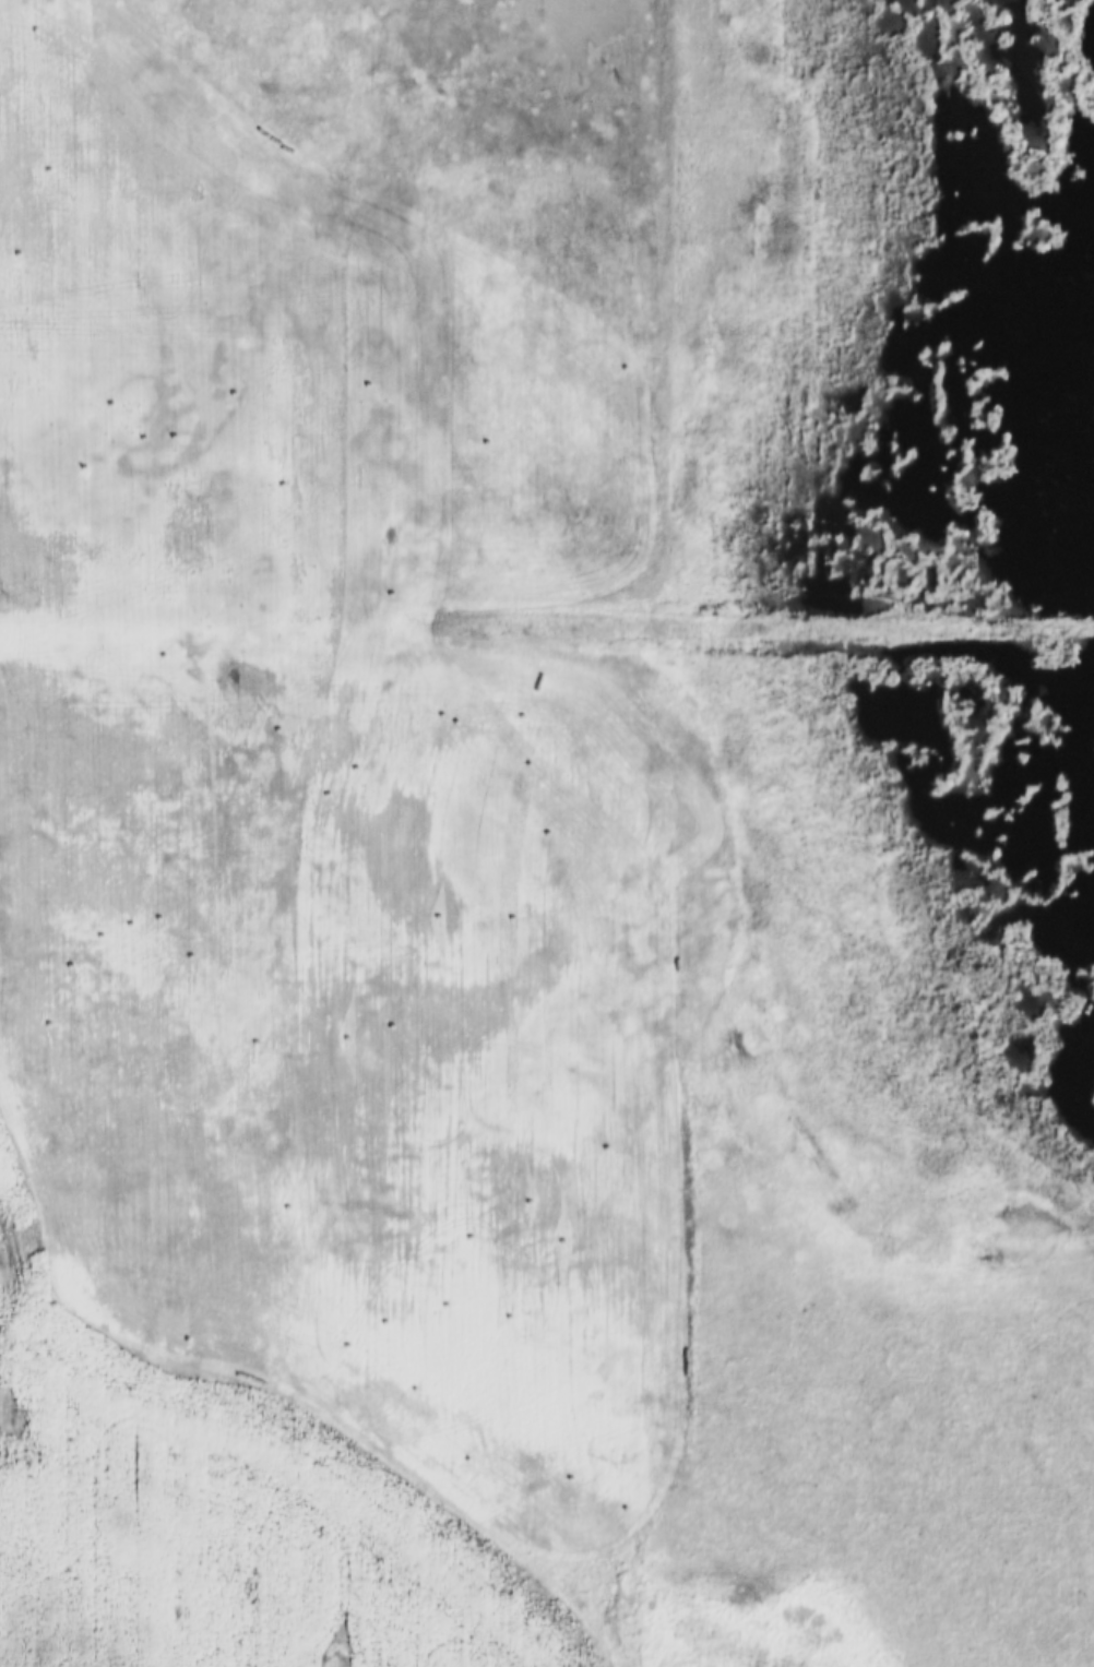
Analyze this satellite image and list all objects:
road: (887, 1330)

